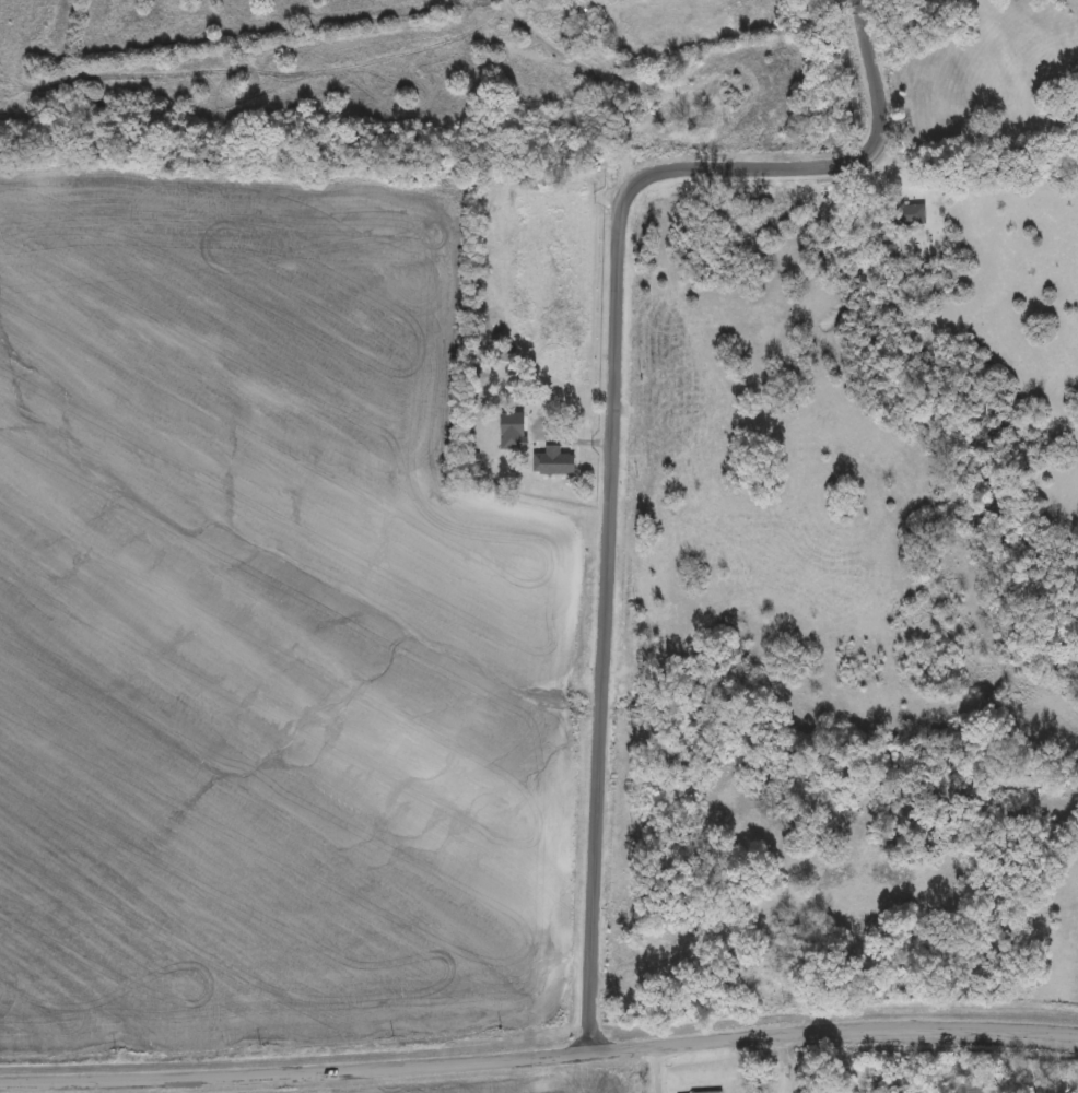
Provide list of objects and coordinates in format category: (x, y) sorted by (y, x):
road: (600, 75)
building: (1077, 114)
building: (912, 215)
road: (614, 416)
building: (509, 430)
building: (558, 465)
road: (539, 1059)
road: (828, 1063)
road: (784, 1065)
building: (866, 1079)
building: (968, 1089)

